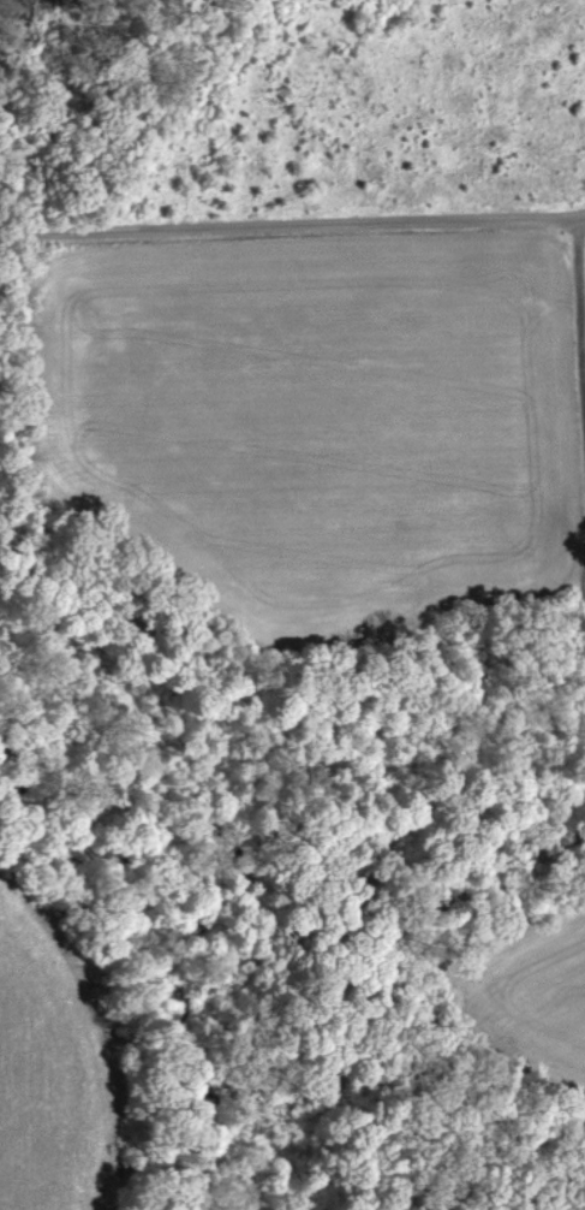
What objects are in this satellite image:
road: (292, 227)
road: (580, 314)

